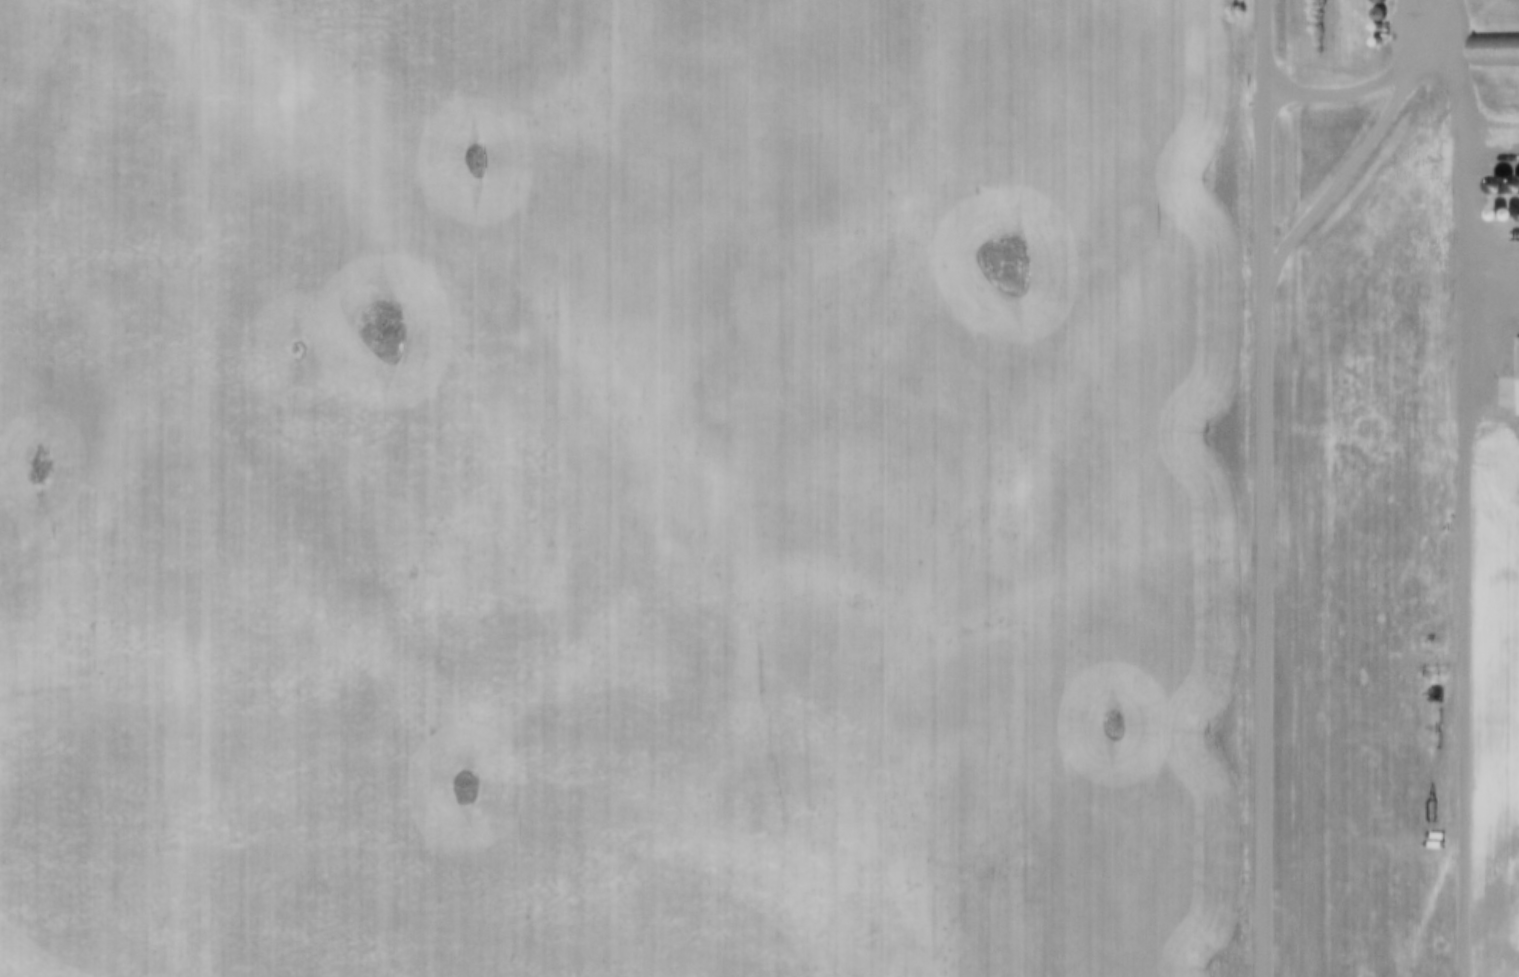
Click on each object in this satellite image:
road: (1430, 7)
road: (1435, 7)
building: (1503, 48)
road: (1364, 83)
road: (1462, 144)
road: (1343, 172)
road: (1262, 488)

